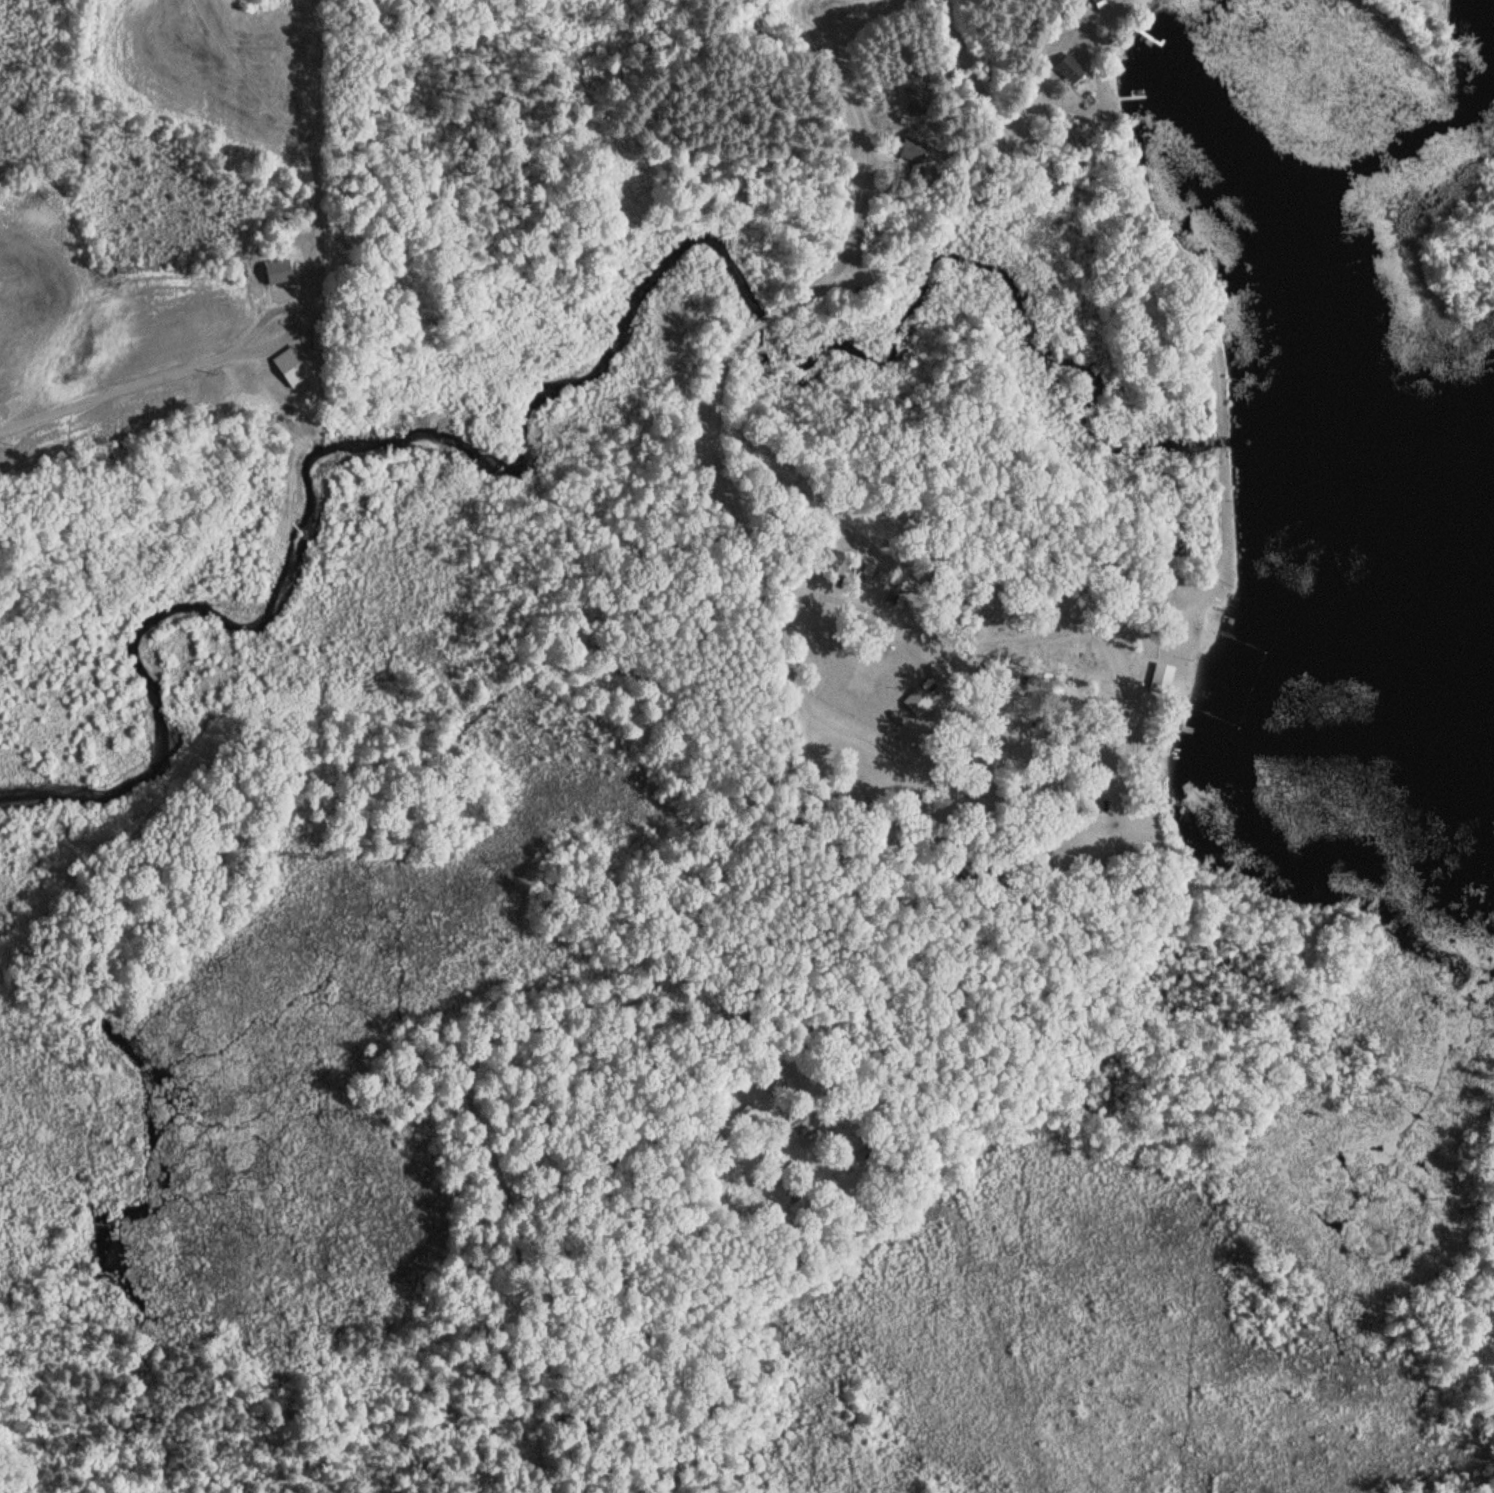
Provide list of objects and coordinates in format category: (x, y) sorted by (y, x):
building: (1094, 1)
road: (853, 4)
road: (1063, 45)
building: (1068, 70)
road: (712, 395)
building: (1161, 679)
road: (1076, 821)

